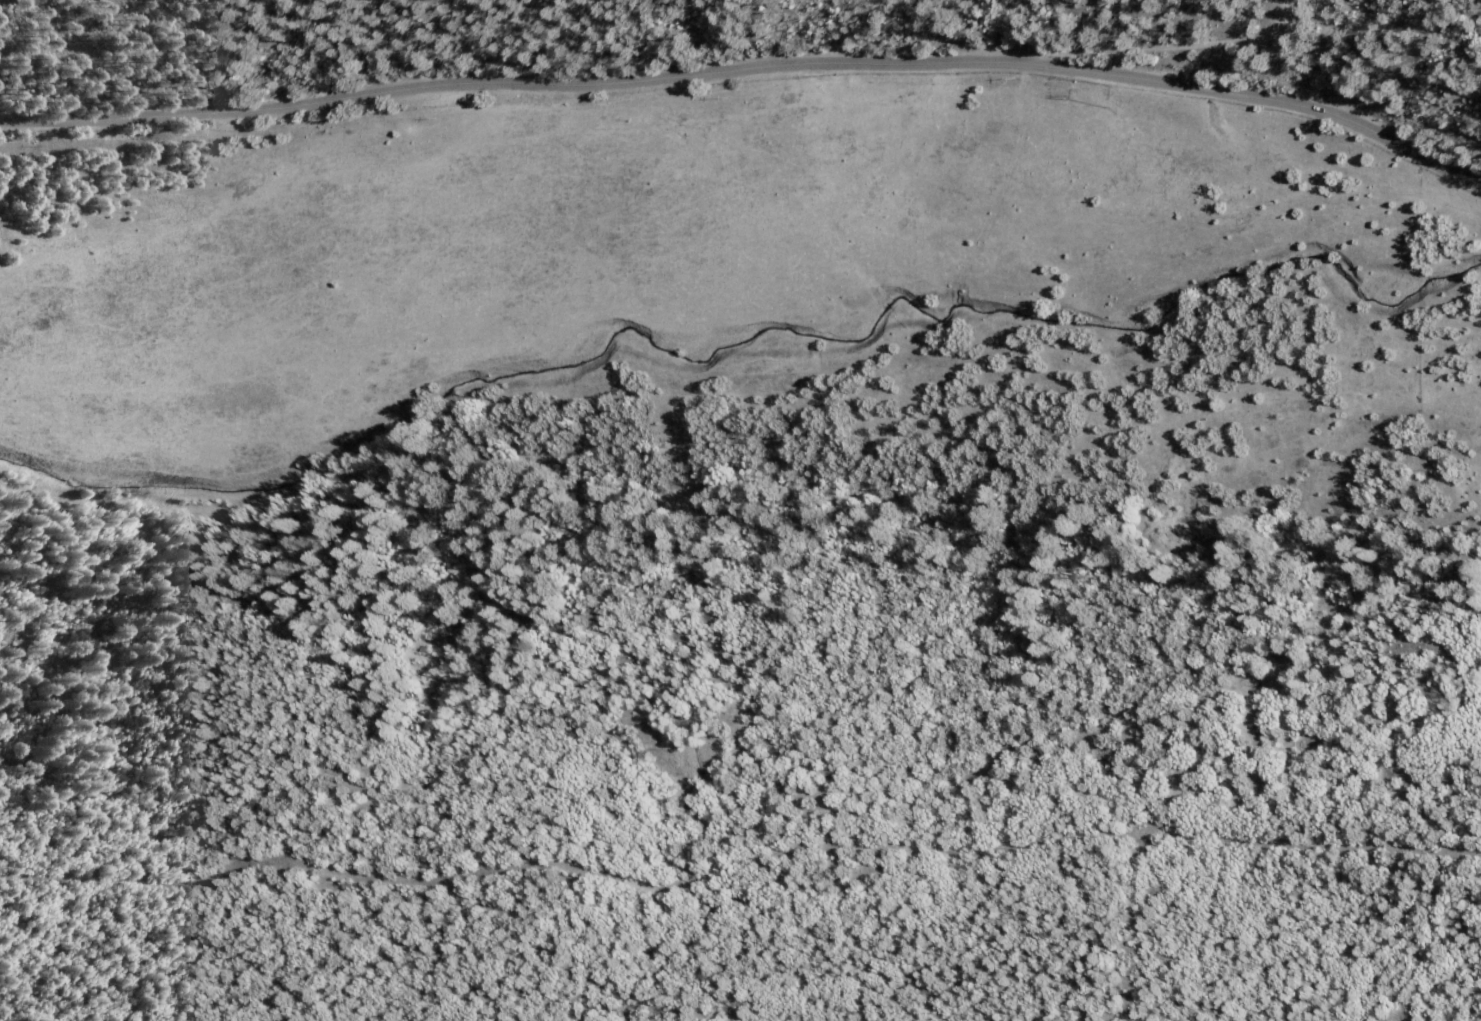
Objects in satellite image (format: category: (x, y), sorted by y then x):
road: (1141, 35)
road: (749, 71)

